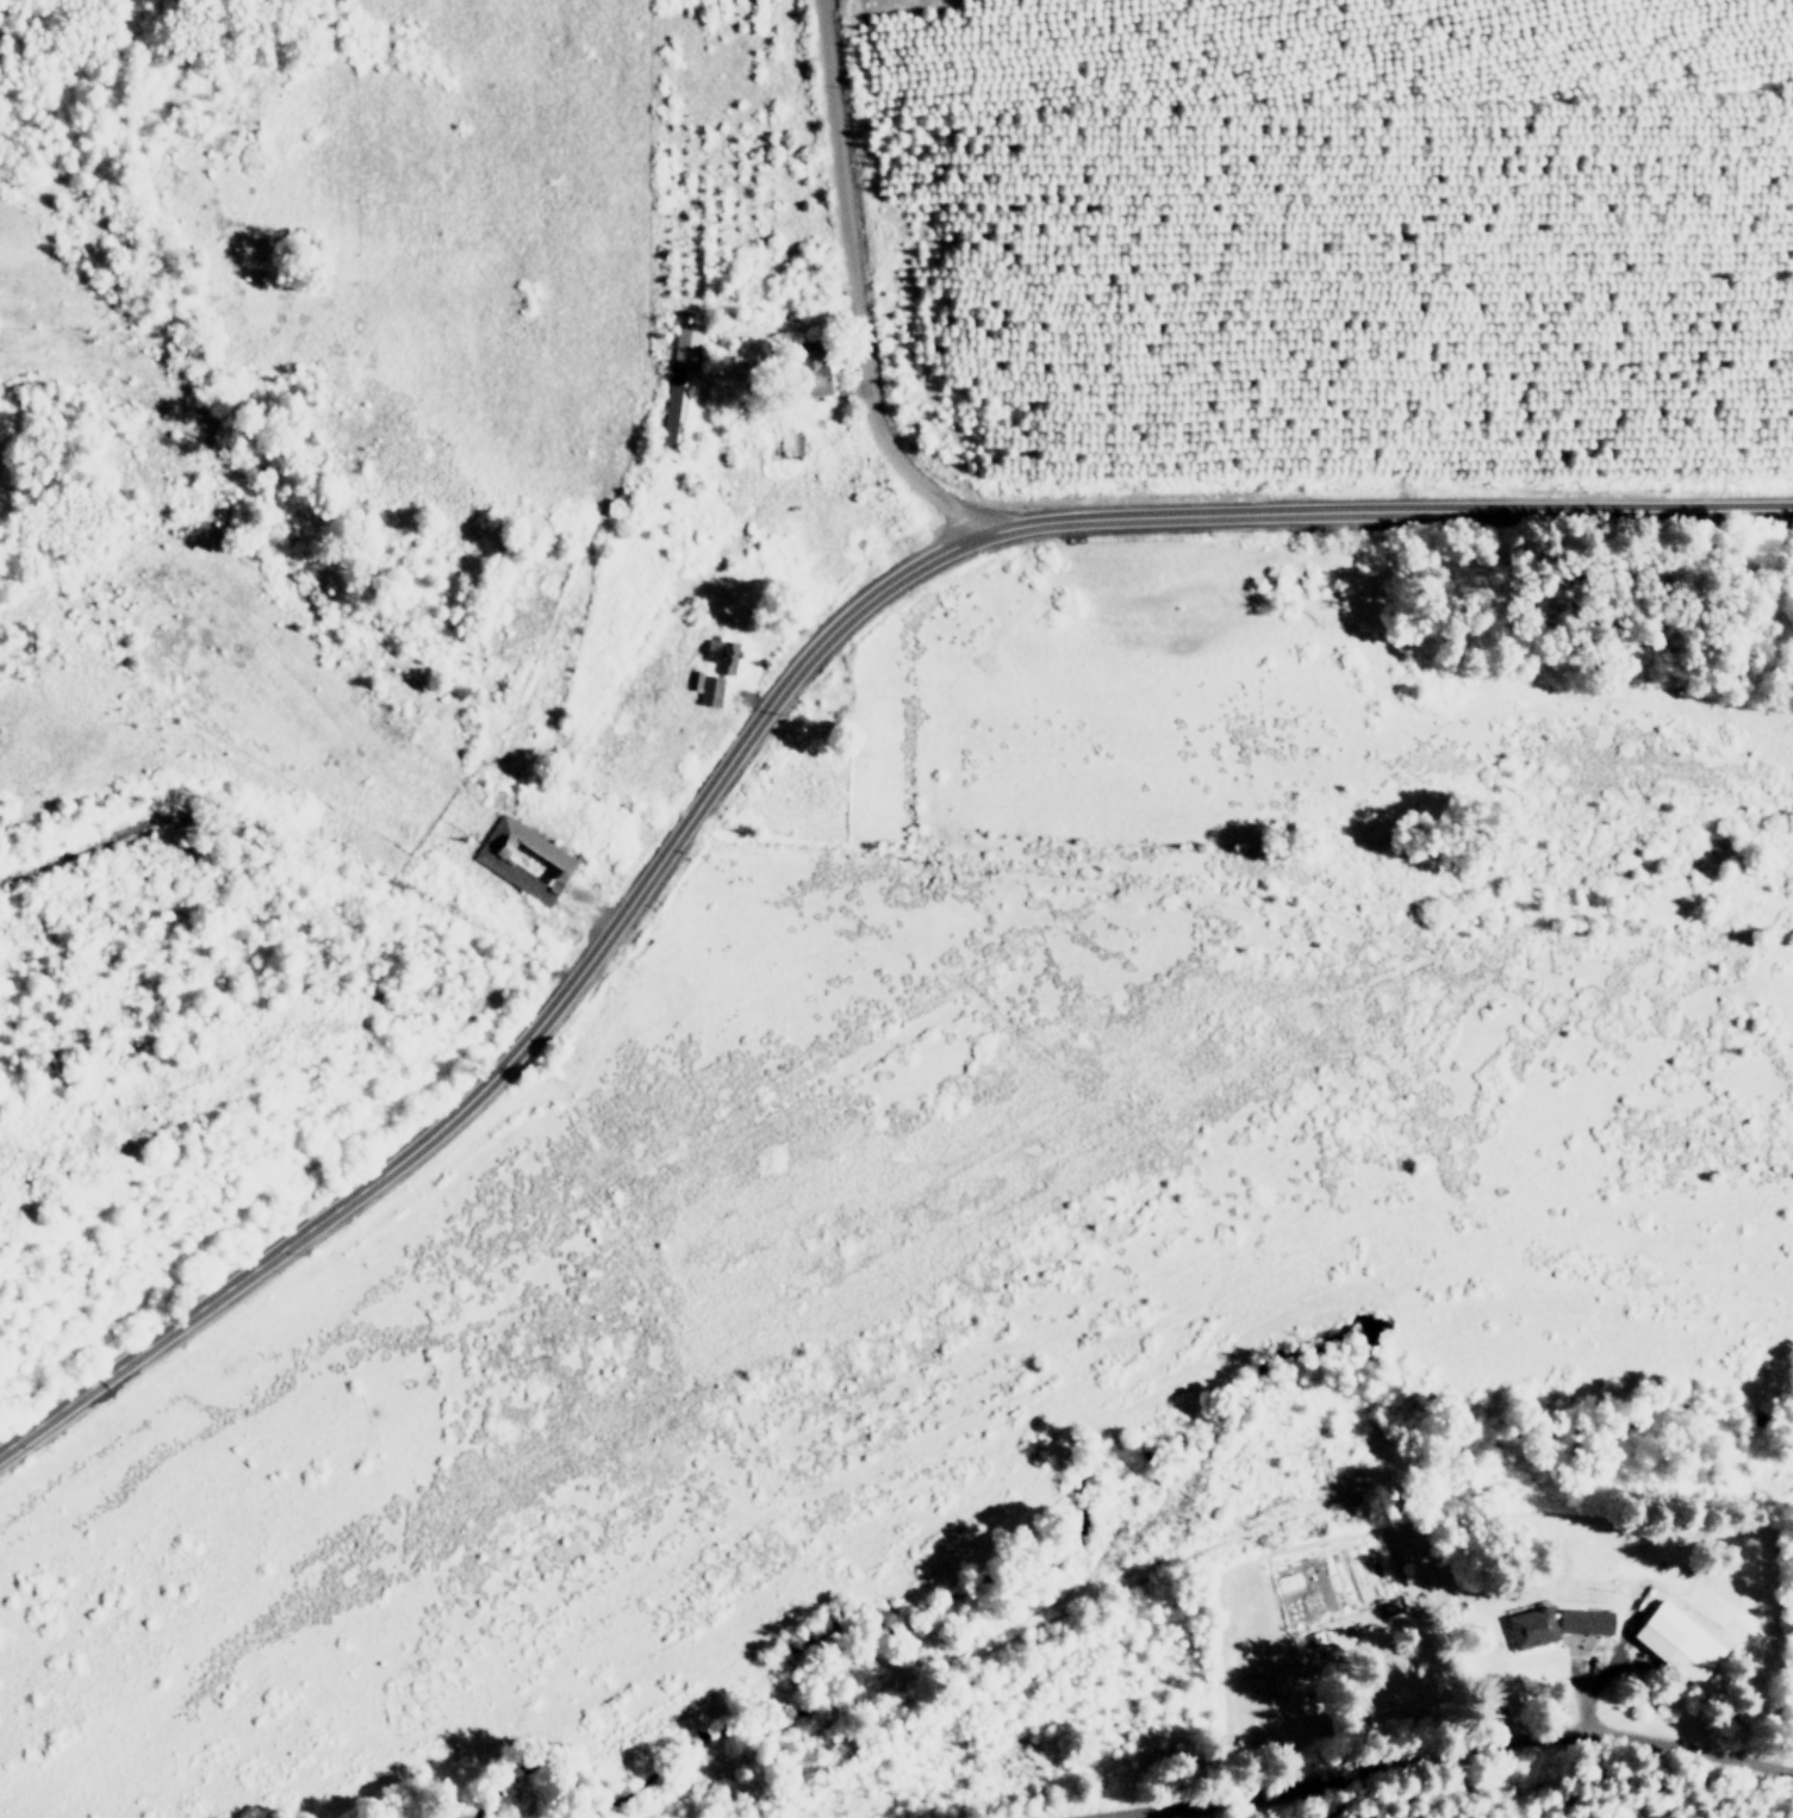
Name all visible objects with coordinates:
road: (855, 306)
building: (678, 381)
road: (770, 699)
building: (1676, 1642)
road: (1465, 1751)

